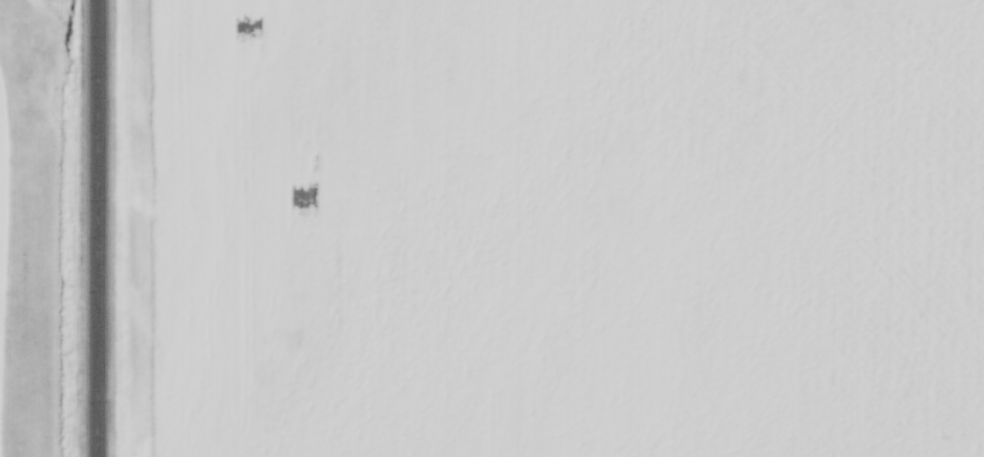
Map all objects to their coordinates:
road: (101, 228)

